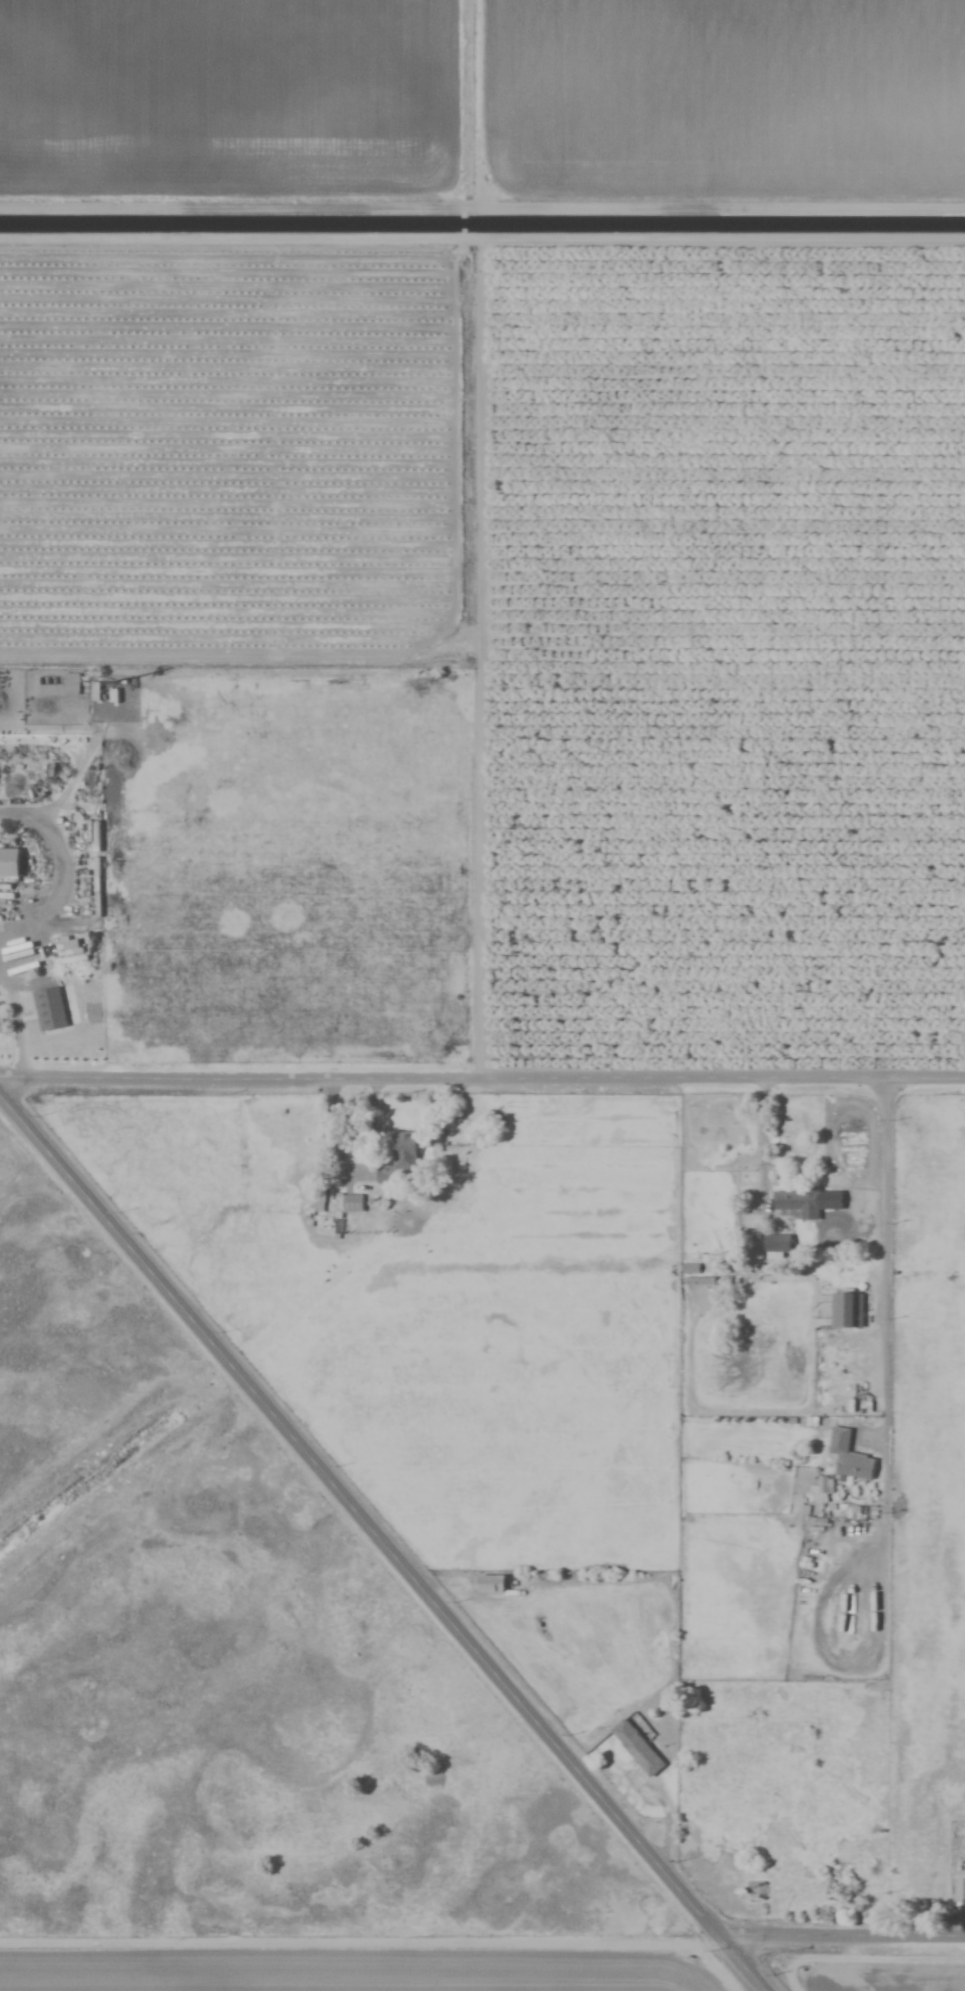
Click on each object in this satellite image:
road: (482, 240)
building: (58, 685)
building: (8, 863)
building: (50, 1009)
road: (482, 1080)
road: (762, 1135)
building: (404, 1152)
building: (350, 1204)
building: (796, 1204)
building: (846, 1311)
road: (884, 1318)
building: (848, 1457)
building: (821, 1490)
road: (383, 1547)
building: (488, 1585)
building: (636, 1748)
building: (963, 1890)
building: (756, 1892)
road: (841, 1932)

